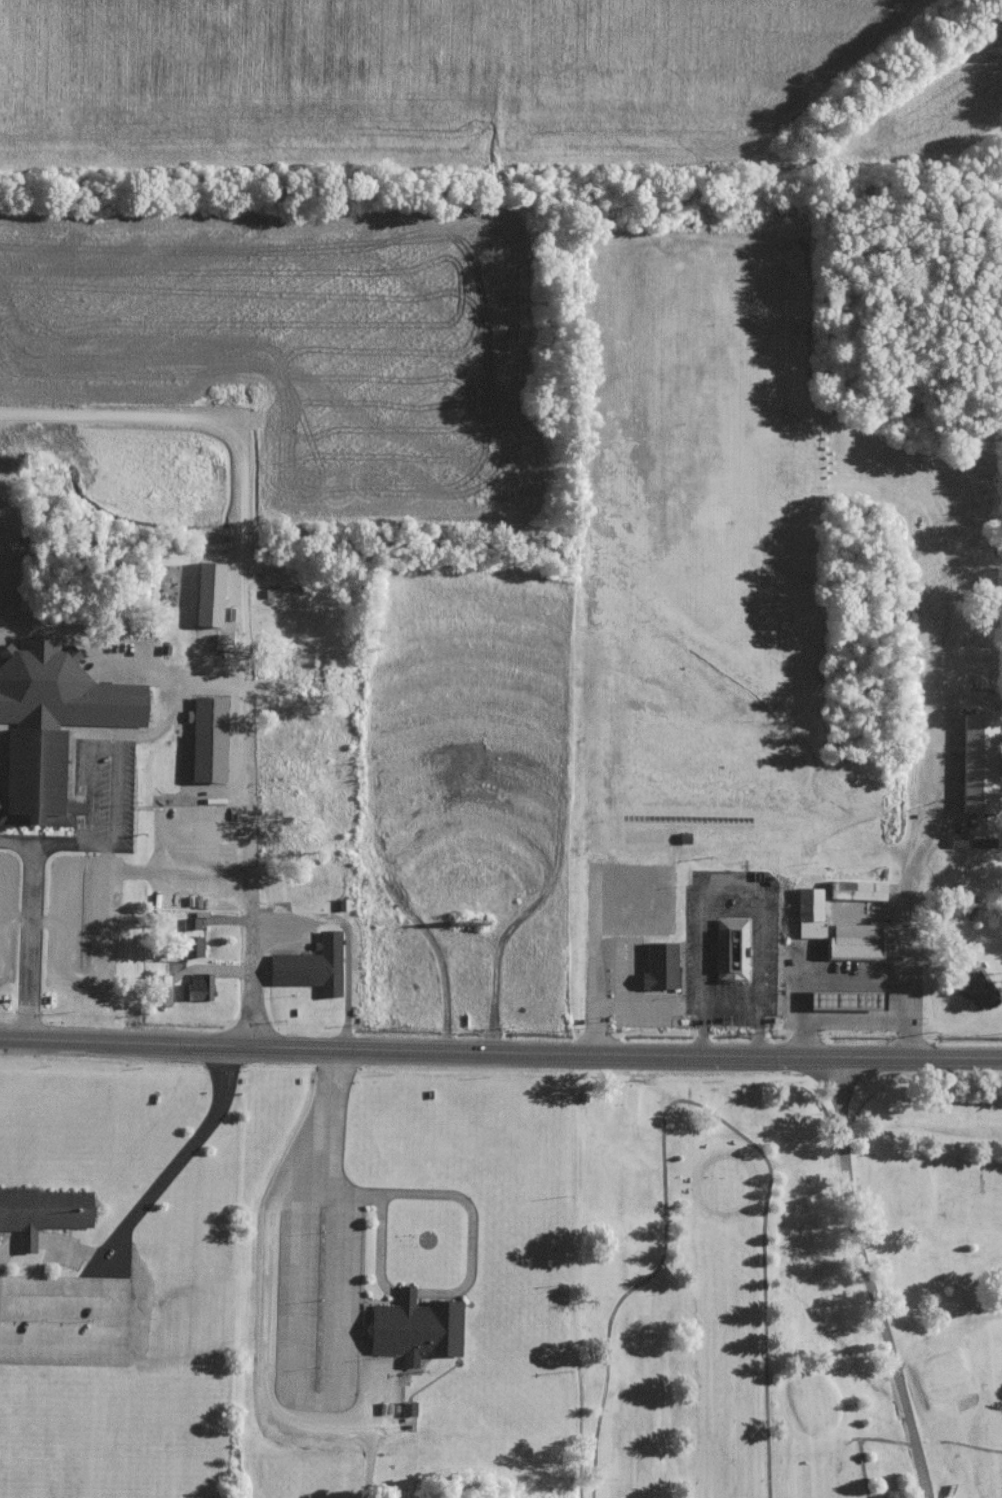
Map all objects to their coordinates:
building: (282, 591)
building: (212, 595)
building: (226, 639)
building: (166, 650)
road: (125, 668)
road: (205, 679)
building: (53, 726)
building: (210, 740)
road: (935, 752)
parking lot: (3, 753)
building: (979, 762)
parking lot: (116, 796)
road: (114, 832)
building: (972, 842)
road: (15, 844)
parking lot: (197, 854)
road: (246, 859)
road: (162, 871)
building: (857, 889)
building: (810, 912)
parking lot: (8, 915)
road: (47, 922)
parking lot: (83, 922)
building: (192, 923)
road: (348, 935)
road: (28, 940)
building: (193, 946)
building: (855, 949)
building: (734, 951)
building: (663, 966)
building: (313, 967)
road: (65, 973)
road: (854, 979)
building: (198, 987)
building: (977, 988)
building: (162, 990)
building: (850, 1000)
road: (471, 1048)
road: (973, 1052)
road: (918, 1125)
road: (741, 1135)
road: (170, 1172)
road: (846, 1184)
road: (278, 1196)
building: (43, 1212)
road: (51, 1241)
road: (921, 1256)
road: (867, 1275)
park: (796, 1281)
parking lot: (64, 1321)
road: (104, 1322)
building: (418, 1329)
road: (938, 1329)
building: (408, 1408)
road: (597, 1432)
road: (859, 1439)
road: (926, 1439)
road: (969, 1444)
park: (16, 1468)

